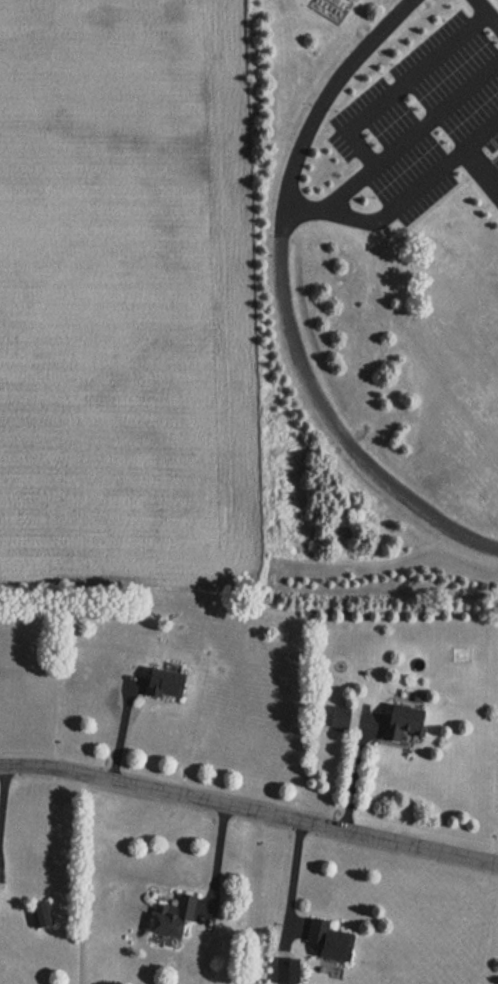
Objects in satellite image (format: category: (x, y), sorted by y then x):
road: (486, 12)
road: (397, 151)
road: (481, 166)
road: (418, 185)
road: (284, 302)
building: (160, 680)
building: (338, 717)
building: (386, 721)
road: (1, 783)
road: (250, 803)
road: (217, 855)
road: (295, 875)
building: (38, 913)
building: (168, 915)
building: (320, 942)

